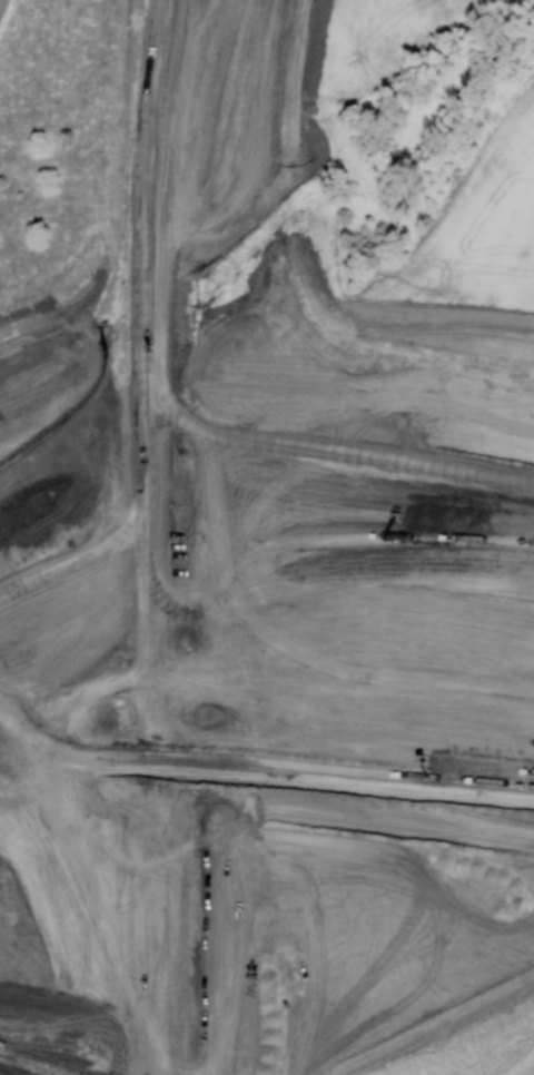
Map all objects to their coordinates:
crop: (375, 34)
road: (228, 77)
crop: (487, 225)
road: (224, 252)
road: (200, 253)
road: (181, 331)
road: (189, 608)
road: (184, 722)
road: (178, 827)
road: (176, 865)

